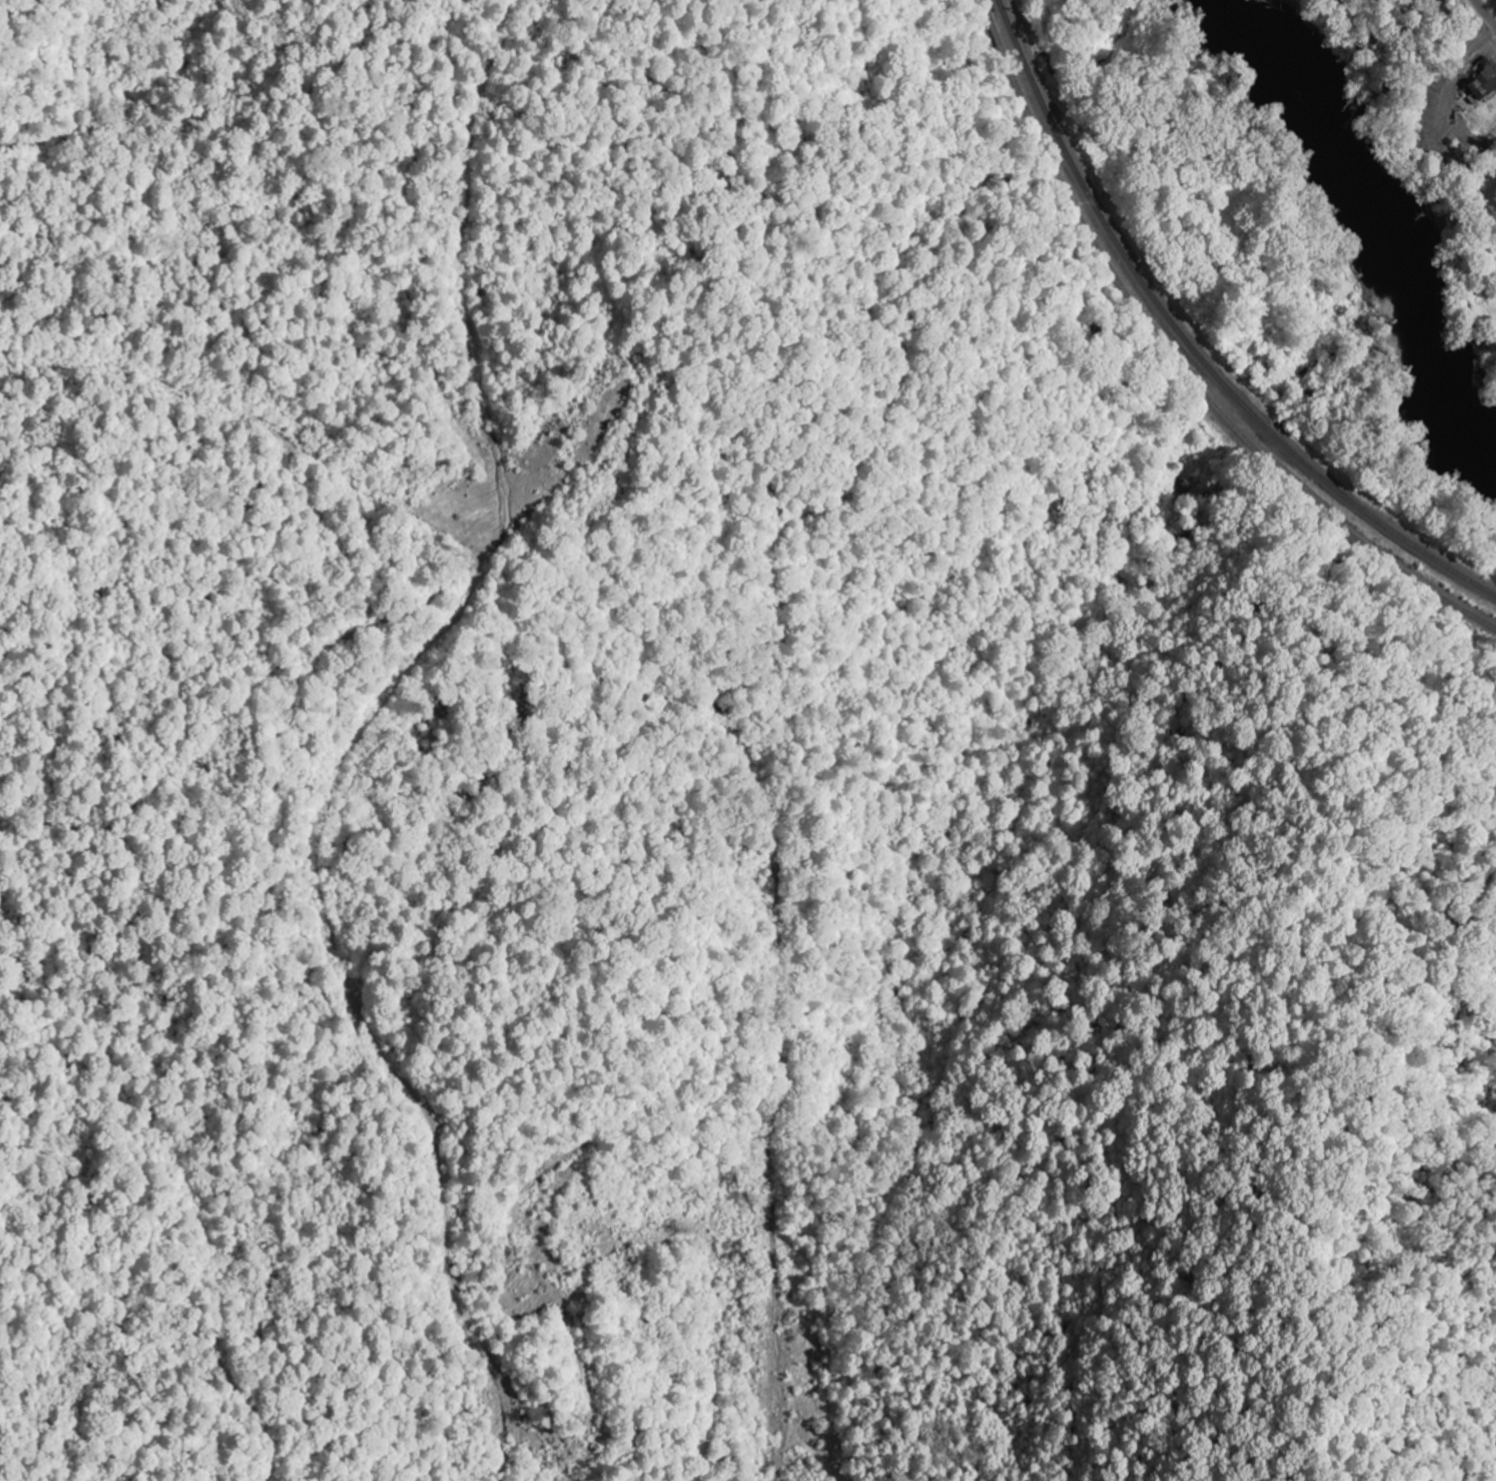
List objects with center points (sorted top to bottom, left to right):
road: (1483, 14)
building: (1479, 85)
railway: (1051, 122)
road: (1494, 145)
river: (1384, 223)
railway: (1177, 364)
road: (257, 415)
railway: (1282, 442)
road: (320, 832)

